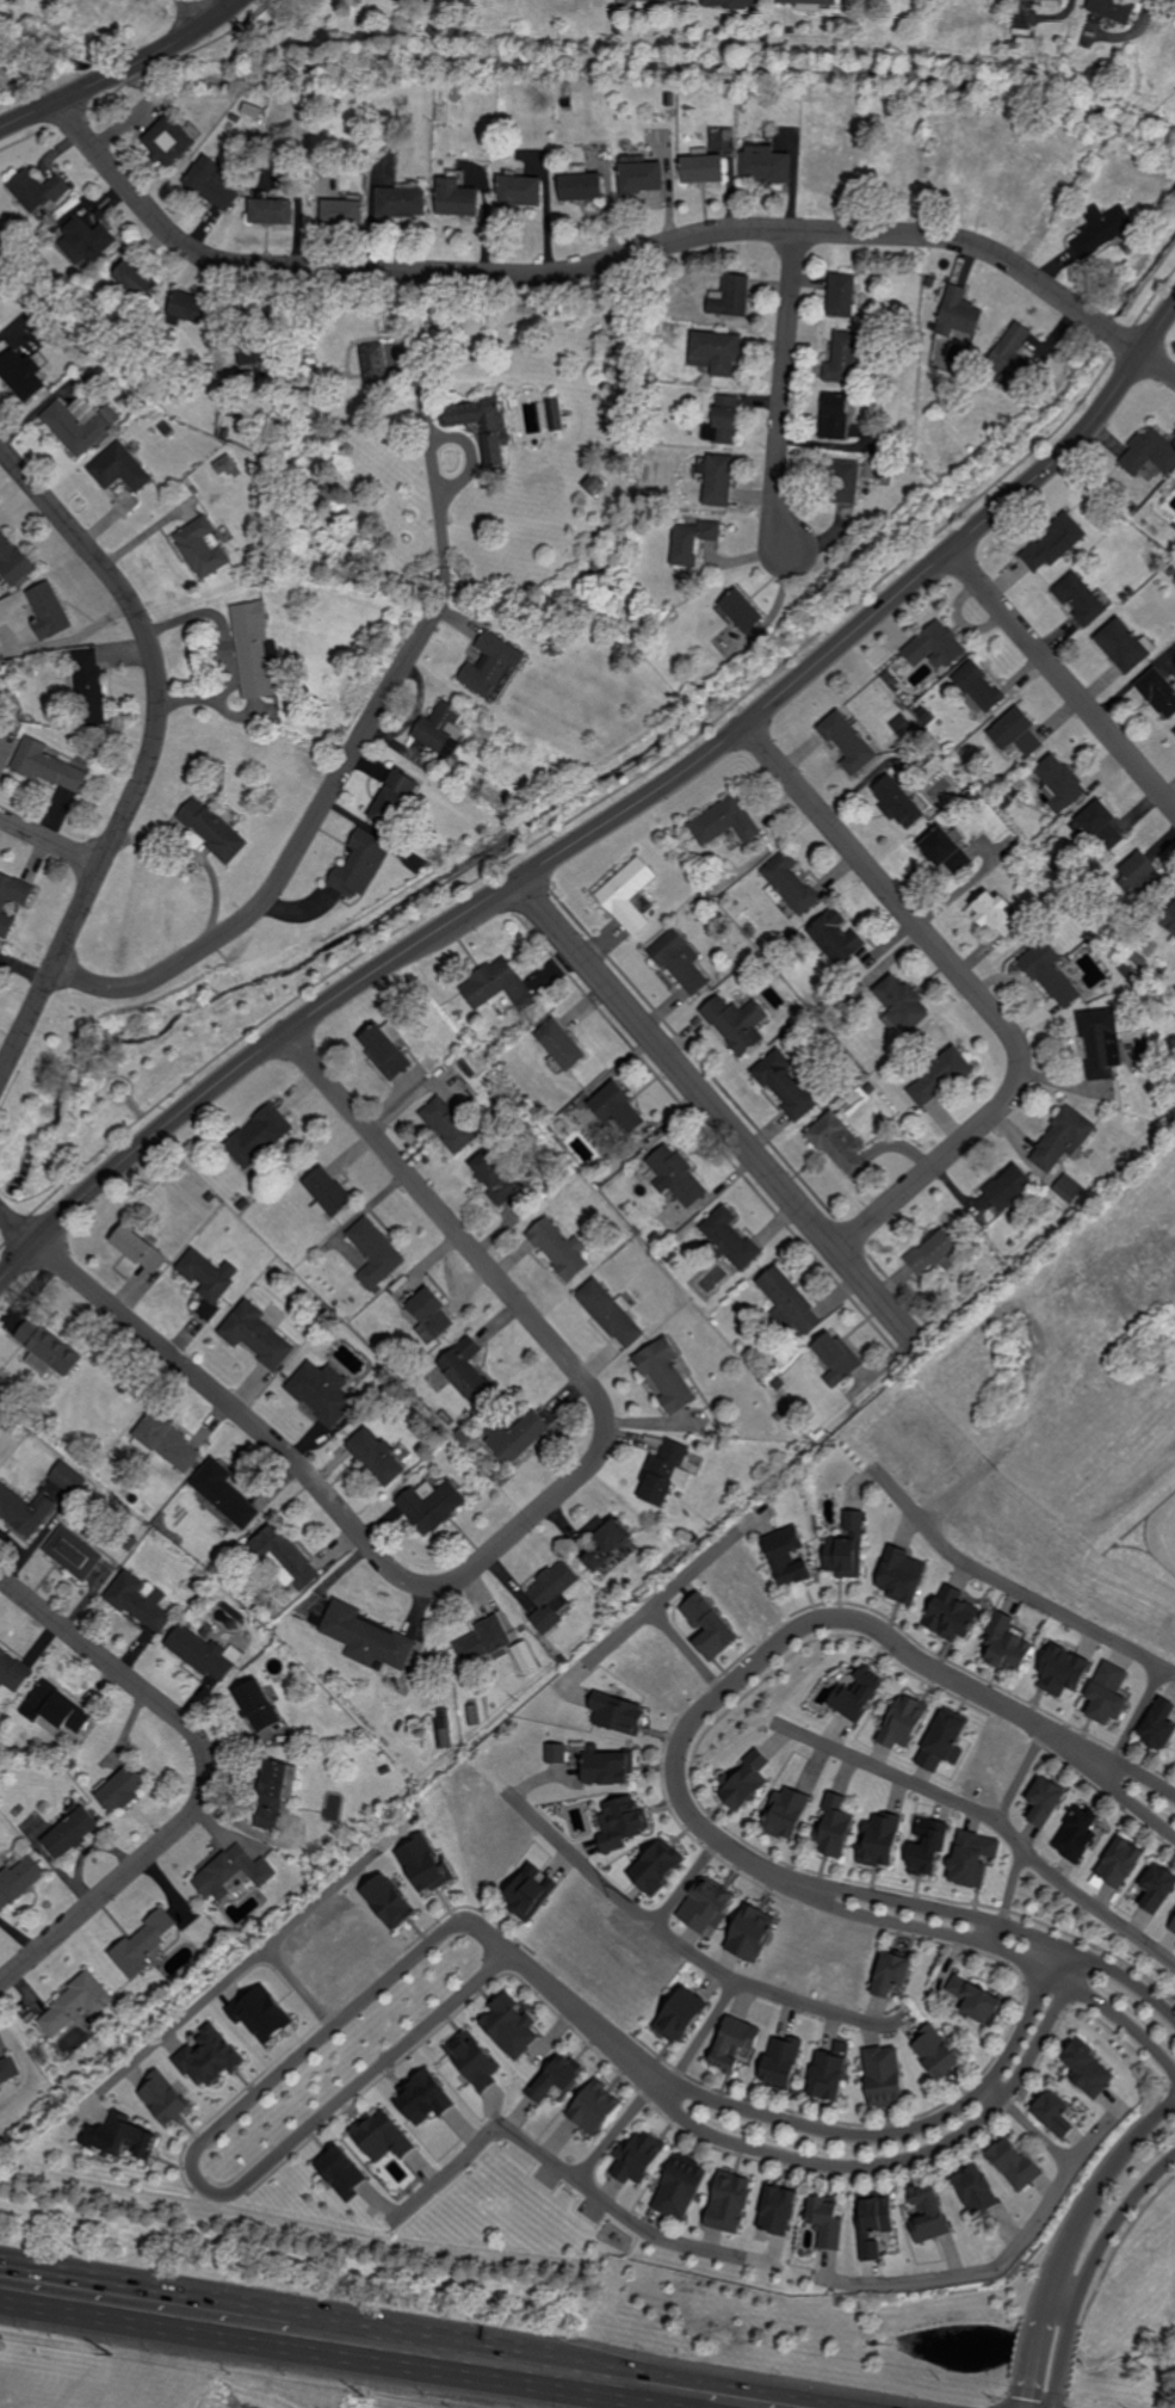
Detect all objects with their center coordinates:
building: (653, 0)
building: (1058, 0)
building: (503, 1)
building: (809, 1)
building: (573, 2)
building: (734, 2)
road: (209, 7)
building: (93, 8)
building: (1115, 8)
building: (8, 12)
building: (299, 26)
building: (767, 35)
building: (1167, 37)
building: (1013, 44)
road: (124, 70)
building: (443, 86)
building: (322, 95)
building: (305, 97)
building: (746, 98)
building: (1157, 98)
building: (831, 99)
building: (568, 103)
building: (997, 112)
building: (235, 118)
building: (169, 141)
building: (1084, 141)
building: (638, 147)
building: (769, 163)
building: (829, 166)
building: (707, 167)
building: (893, 169)
building: (956, 174)
building: (644, 175)
building: (984, 180)
building: (212, 185)
building: (583, 185)
building: (38, 190)
building: (521, 190)
building: (1027, 195)
building: (458, 196)
building: (403, 202)
building: (273, 210)
building: (345, 211)
building: (1102, 229)
building: (45, 235)
building: (85, 240)
road: (604, 263)
building: (136, 278)
building: (842, 294)
building: (736, 296)
building: (37, 307)
building: (192, 307)
building: (959, 313)
building: (414, 334)
building: (285, 347)
building: (260, 351)
building: (719, 351)
building: (1012, 354)
building: (845, 358)
building: (377, 363)
building: (315, 368)
building: (23, 373)
road: (784, 393)
building: (557, 414)
building: (836, 416)
building: (729, 418)
building: (484, 425)
building: (75, 427)
building: (224, 433)
building: (1150, 452)
building: (277, 456)
road: (432, 467)
building: (120, 475)
building: (722, 480)
building: (847, 482)
building: (596, 483)
building: (694, 541)
building: (1052, 542)
building: (202, 548)
building: (13, 561)
building: (1081, 599)
building: (743, 610)
building: (49, 612)
building: (934, 647)
building: (1123, 647)
building: (555, 648)
building: (256, 650)
building: (11, 662)
building: (493, 665)
road: (1064, 679)
building: (979, 686)
building: (89, 689)
building: (1158, 692)
building: (6, 697)
building: (440, 728)
building: (1174, 733)
building: (1016, 734)
building: (847, 741)
road: (150, 751)
building: (47, 765)
building: (435, 774)
building: (219, 780)
building: (1059, 783)
building: (396, 797)
building: (897, 802)
road: (611, 821)
building: (724, 821)
building: (1100, 826)
building: (214, 831)
road: (50, 841)
building: (945, 852)
road: (293, 857)
building: (359, 862)
building: (1140, 873)
building: (791, 884)
building: (627, 896)
building: (23, 901)
building: (996, 914)
building: (1169, 922)
building: (834, 937)
building: (678, 961)
building: (1051, 975)
building: (497, 986)
road: (975, 992)
building: (899, 1001)
building: (736, 1024)
building: (1100, 1044)
building: (561, 1045)
park: (161, 1046)
building: (385, 1052)
building: (939, 1076)
building: (785, 1085)
building: (618, 1110)
road: (717, 1113)
building: (447, 1125)
building: (258, 1137)
building: (1060, 1138)
building: (839, 1143)
building: (676, 1177)
building: (497, 1178)
building: (1009, 1187)
building: (1068, 1188)
building: (328, 1191)
building: (730, 1240)
building: (138, 1249)
building: (558, 1249)
building: (934, 1251)
building: (375, 1254)
building: (209, 1274)
building: (789, 1303)
building: (429, 1313)
building: (610, 1314)
building: (255, 1335)
building: (41, 1341)
building: (835, 1358)
building: (38, 1364)
building: (468, 1373)
building: (664, 1375)
building: (2, 1383)
building: (321, 1394)
building: (519, 1437)
building: (166, 1440)
building: (376, 1455)
building: (663, 1471)
building: (68, 1478)
building: (224, 1494)
building: (432, 1506)
building: (25, 1512)
road: (506, 1540)
building: (604, 1542)
building: (843, 1550)
building: (74, 1554)
building: (284, 1560)
building: (786, 1560)
road: (693, 1572)
building: (903, 1577)
road: (1010, 1591)
building: (138, 1599)
building: (551, 1599)
building: (951, 1613)
road: (661, 1620)
building: (709, 1626)
building: (365, 1637)
building: (482, 1641)
building: (1004, 1642)
road: (771, 1649)
building: (199, 1651)
building: (526, 1657)
building: (12, 1672)
building: (1060, 1672)
building: (856, 1696)
building: (1106, 1697)
building: (256, 1705)
building: (55, 1708)
building: (619, 1712)
road: (1137, 1715)
building: (902, 1721)
building: (1158, 1725)
building: (444, 1728)
building: (942, 1741)
building: (557, 1753)
road: (1118, 1762)
building: (606, 1767)
road: (1020, 1773)
road: (205, 1778)
building: (746, 1783)
road: (1114, 1789)
building: (122, 1790)
road: (941, 1795)
building: (272, 1796)
building: (1045, 1801)
building: (786, 1814)
building: (620, 1823)
building: (834, 1827)
building: (69, 1832)
building: (1074, 1836)
building: (880, 1840)
building: (927, 1848)
building: (972, 1859)
building: (422, 1863)
building: (1120, 1863)
building: (657, 1867)
building: (231, 1870)
building: (17, 1882)
road: (333, 1888)
building: (1157, 1888)
building: (528, 1893)
road: (620, 1900)
building: (388, 1902)
building: (706, 1907)
road: (940, 1909)
road: (1096, 1909)
building: (1171, 1928)
building: (750, 1933)
building: (141, 1946)
road: (1002, 1950)
road: (1047, 1958)
road: (1070, 1968)
building: (891, 1974)
road: (1131, 1983)
road: (218, 1988)
road: (772, 1993)
building: (976, 1999)
building: (75, 2003)
road: (568, 2005)
building: (261, 2013)
building: (681, 2015)
building: (511, 2024)
road: (704, 2031)
building: (731, 2043)
building: (936, 2052)
building: (208, 2058)
building: (472, 2058)
building: (779, 2062)
building: (1088, 2069)
building: (8, 2070)
building: (830, 2072)
building: (557, 2075)
building: (884, 2076)
building: (163, 2098)
building: (426, 2098)
building: (594, 2108)
building: (1055, 2113)
road: (1039, 2131)
road: (870, 2132)
building: (382, 2136)
building: (119, 2137)
road: (532, 2145)
building: (638, 2157)
road: (191, 2160)
road: (873, 2163)
building: (1014, 2163)
building: (344, 2174)
building: (680, 2186)
building: (975, 2190)
building: (730, 2200)
building: (778, 2210)
building: (928, 2213)
building: (825, 2219)
building: (872, 2223)
road: (1070, 2237)
road: (662, 2239)
road: (1003, 2267)
road: (1088, 2270)
road: (268, 2324)
road: (647, 2389)

